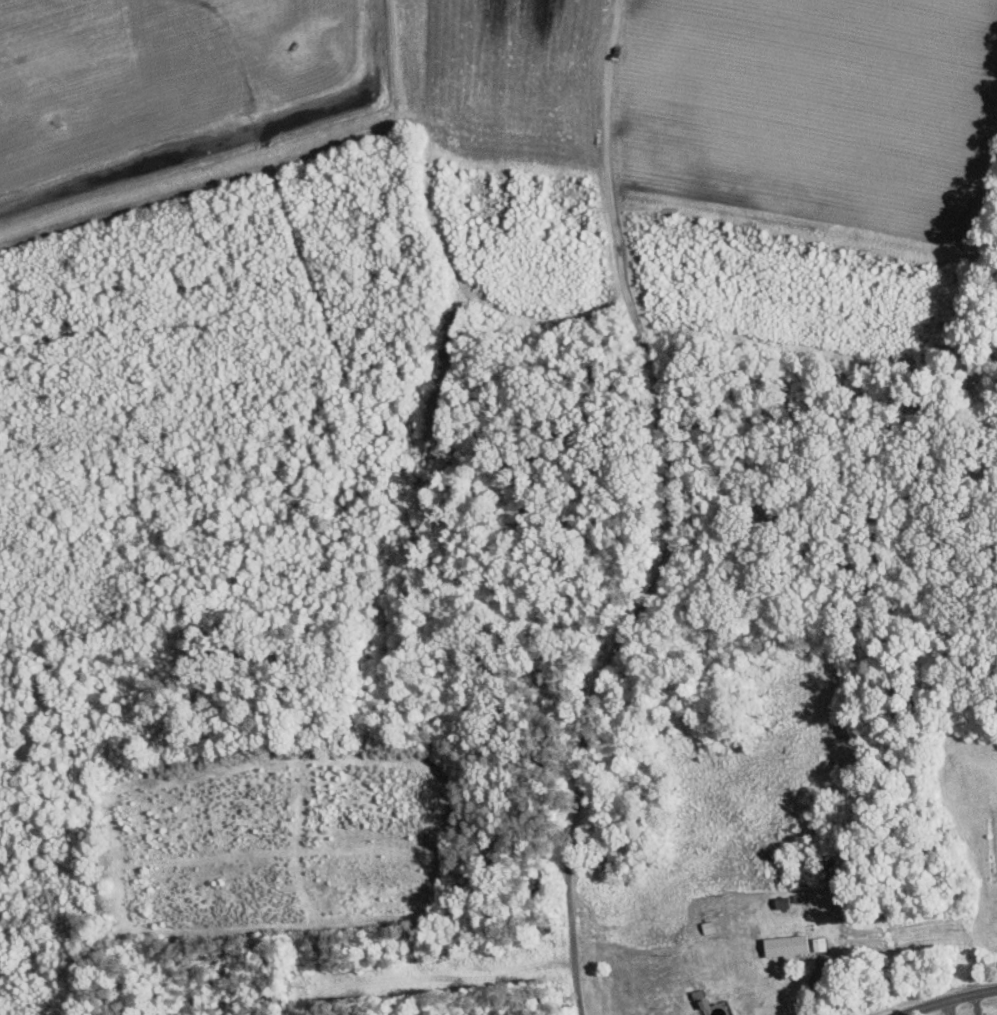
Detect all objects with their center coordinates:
road: (671, 514)
building: (820, 943)
building: (789, 945)
road: (811, 985)
road: (953, 1002)
road: (978, 1005)
building: (714, 1007)
road: (950, 1009)

